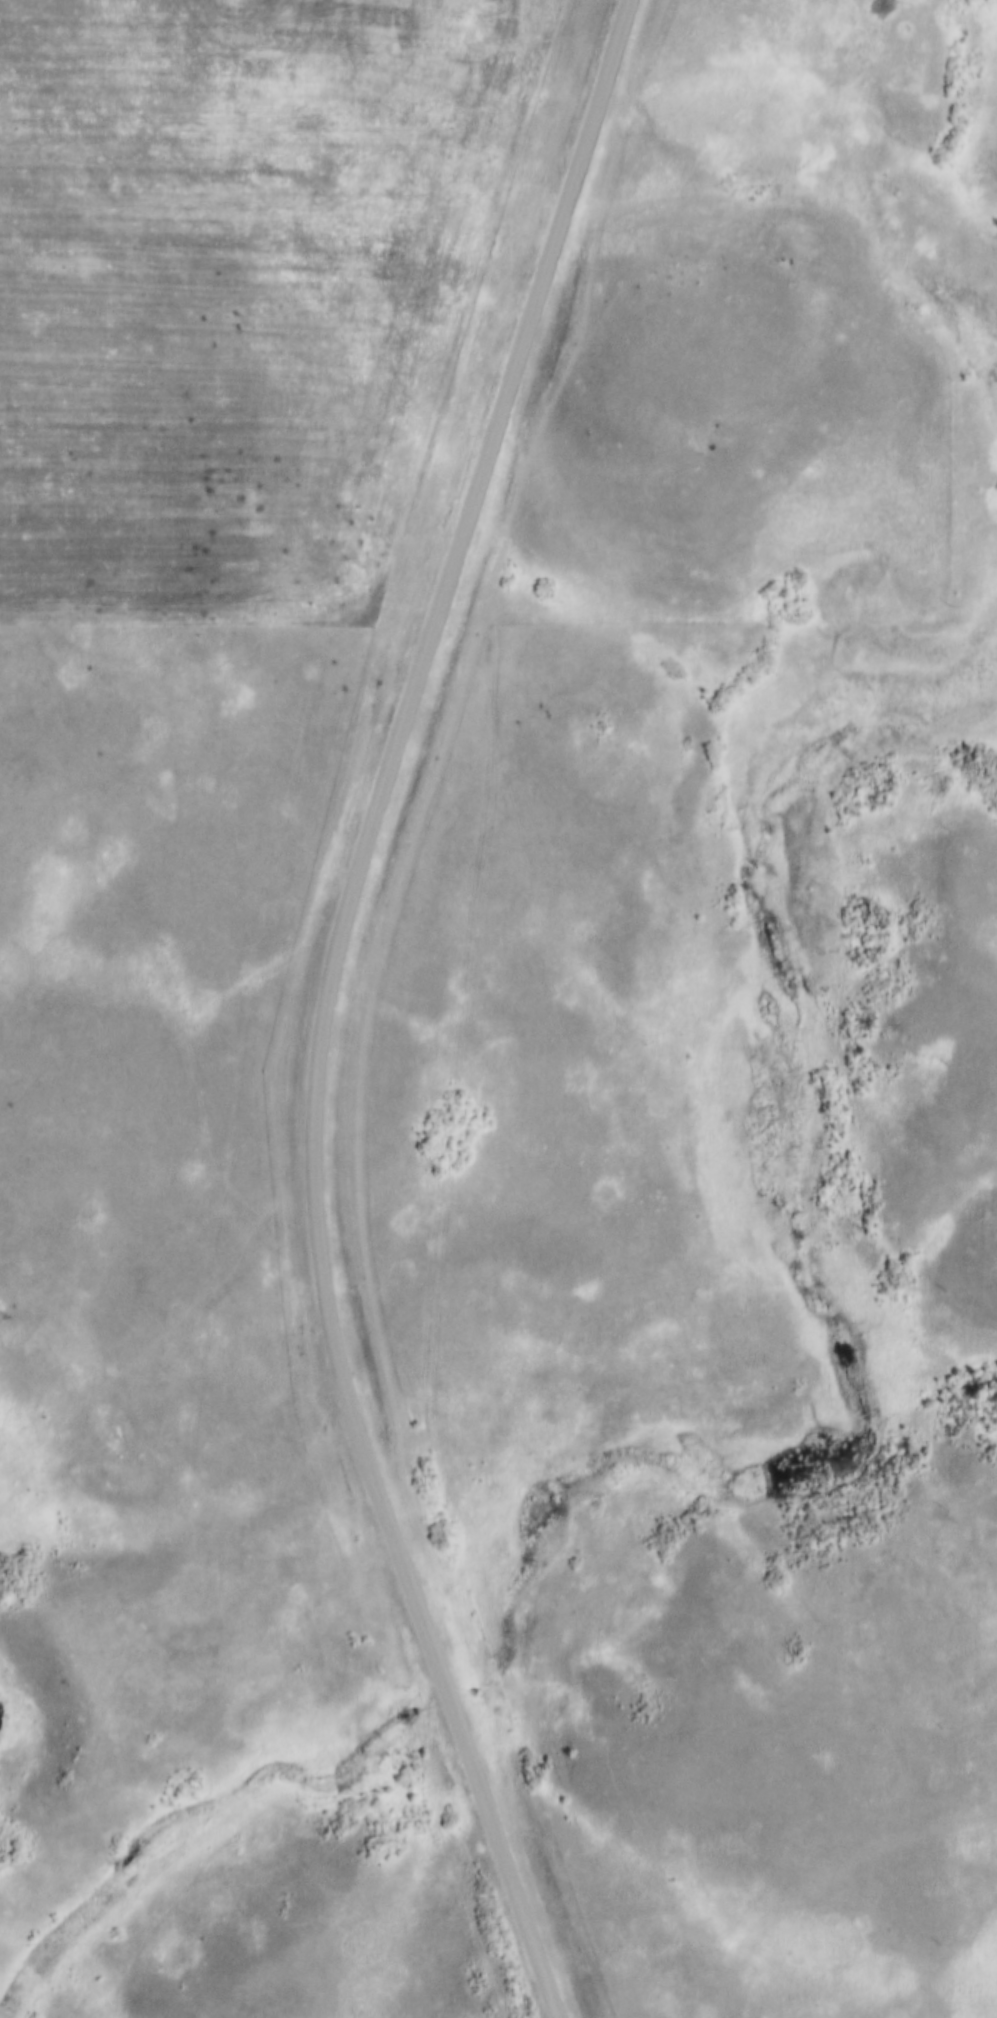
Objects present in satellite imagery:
road: (156, 862)
road: (325, 1005)

